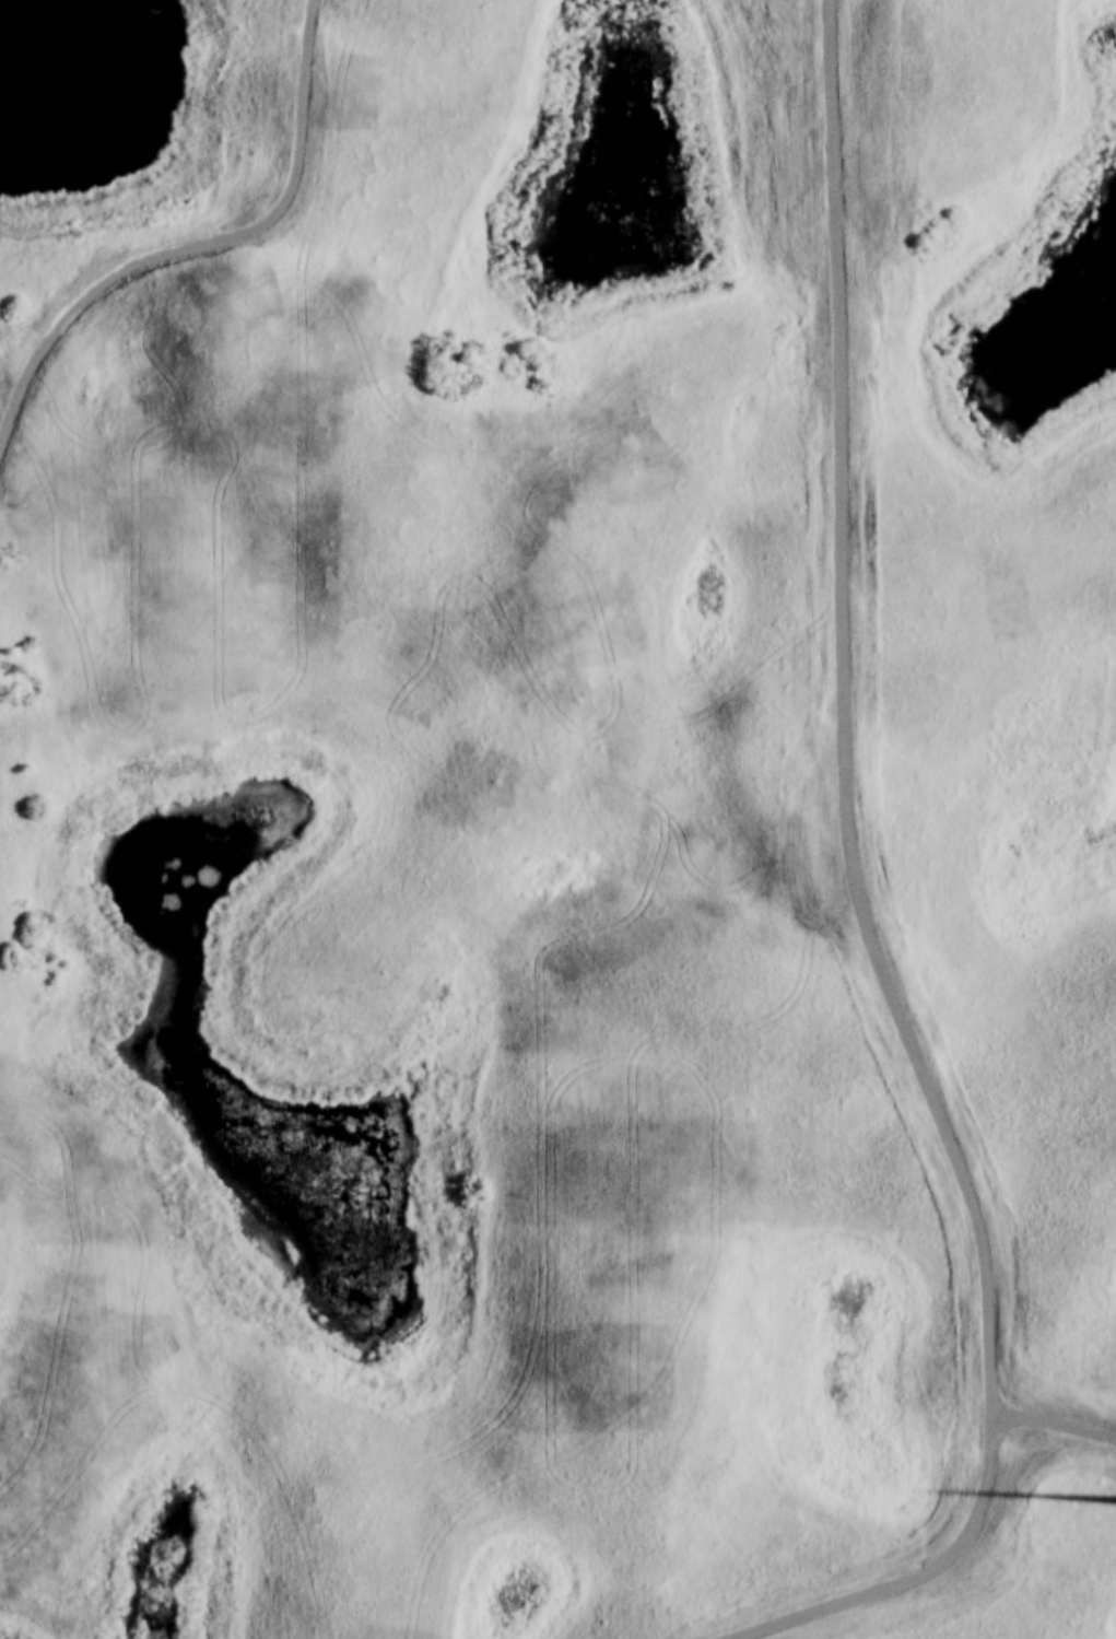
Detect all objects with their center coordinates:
road: (865, 933)
road: (1048, 1428)

